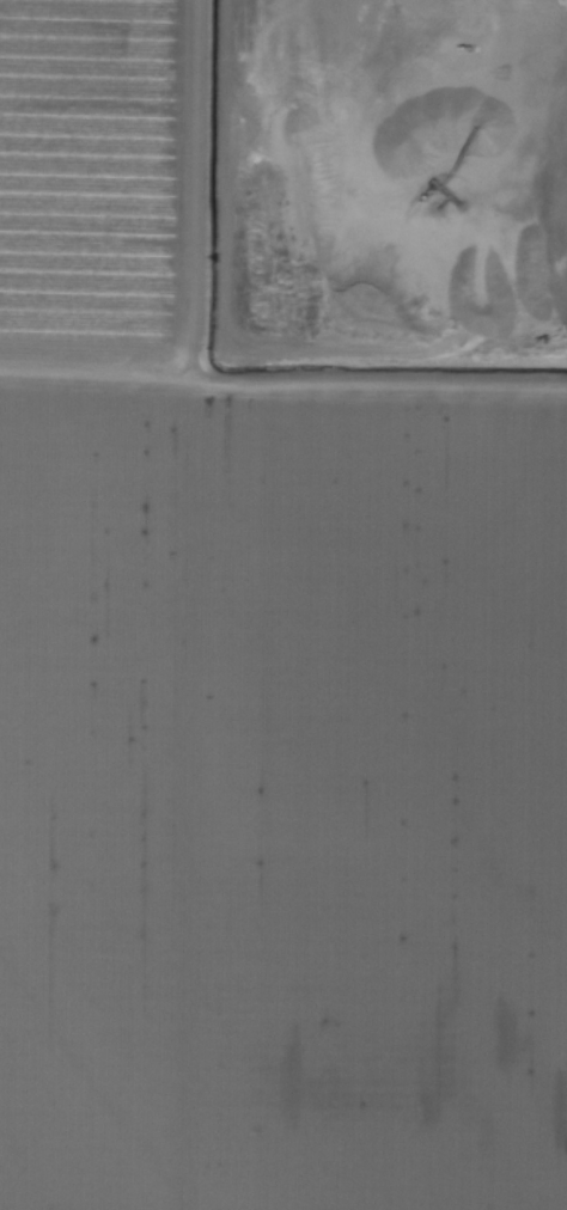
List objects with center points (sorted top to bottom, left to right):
road: (566, 74)
road: (282, 384)

